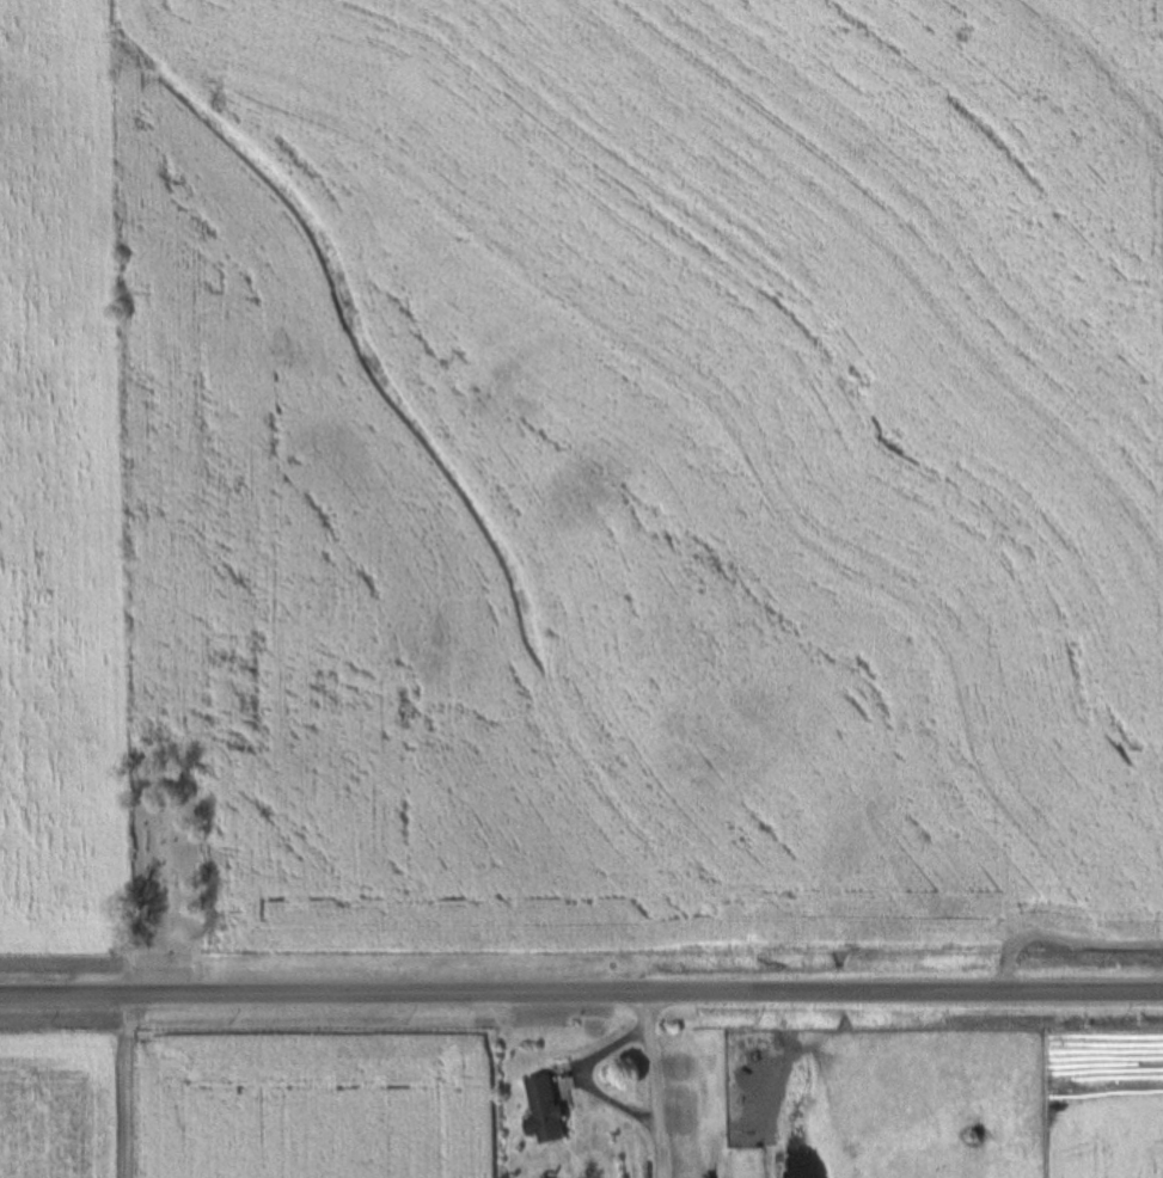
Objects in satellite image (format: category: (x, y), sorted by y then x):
road: (581, 1004)
building: (551, 1111)

